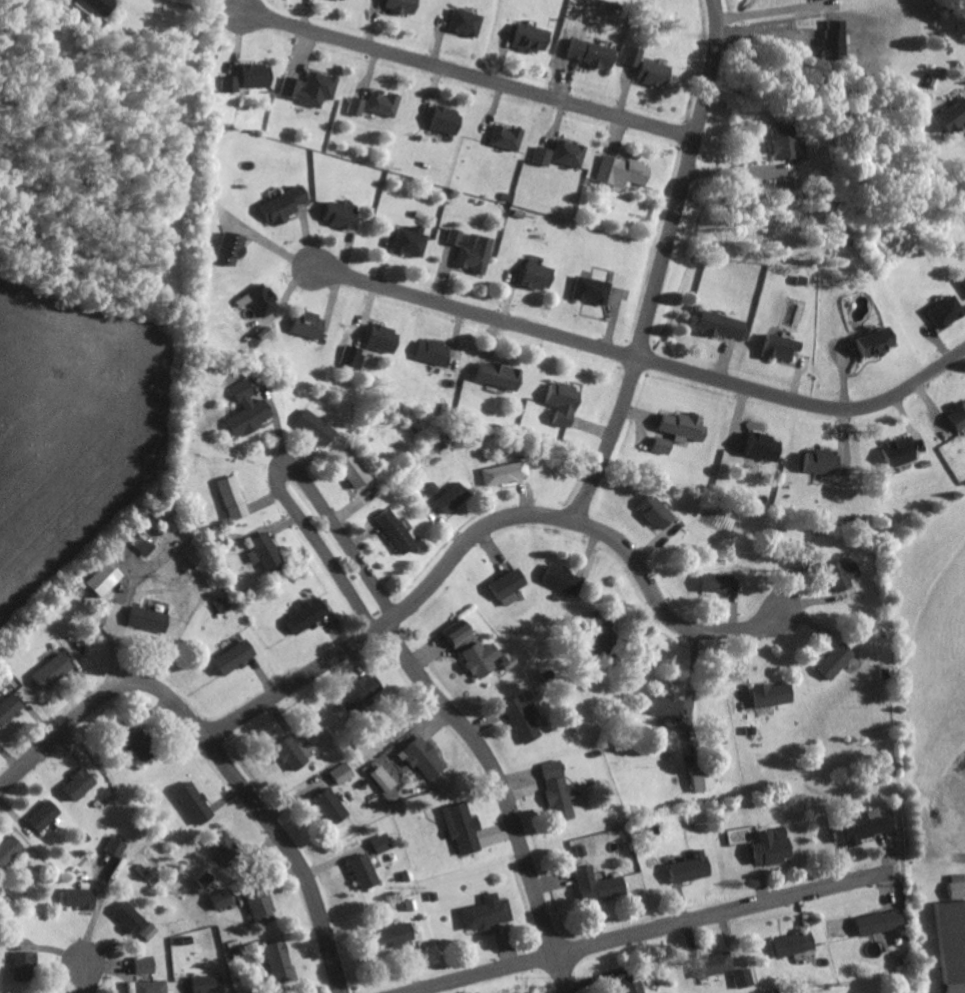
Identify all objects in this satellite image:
building: (344, 0)
building: (93, 4)
building: (398, 6)
road: (203, 11)
road: (773, 15)
building: (460, 23)
building: (527, 38)
building: (585, 53)
building: (643, 68)
building: (245, 78)
road: (474, 78)
building: (306, 89)
building: (380, 104)
building: (353, 106)
building: (949, 116)
building: (442, 120)
building: (502, 137)
building: (778, 141)
building: (565, 153)
building: (539, 156)
building: (619, 171)
building: (279, 204)
building: (333, 215)
building: (407, 241)
road: (275, 247)
building: (224, 248)
building: (468, 250)
road: (669, 266)
building: (531, 275)
building: (961, 283)
building: (586, 290)
building: (257, 299)
building: (940, 311)
building: (306, 325)
building: (714, 325)
building: (377, 339)
building: (869, 343)
building: (774, 347)
building: (430, 352)
road: (648, 361)
building: (493, 375)
building: (557, 402)
building: (243, 411)
building: (954, 416)
building: (311, 426)
building: (679, 426)
road: (281, 429)
building: (657, 445)
building: (756, 447)
building: (817, 462)
building: (348, 471)
building: (502, 473)
road: (290, 480)
building: (431, 488)
building: (228, 497)
building: (449, 498)
building: (650, 512)
building: (391, 530)
road: (485, 532)
building: (261, 552)
building: (797, 556)
building: (838, 574)
building: (556, 578)
building: (97, 580)
building: (711, 582)
building: (502, 587)
building: (219, 605)
building: (302, 616)
building: (145, 620)
building: (592, 626)
building: (465, 650)
building: (237, 657)
building: (501, 660)
building: (830, 661)
building: (54, 670)
building: (766, 695)
building: (659, 706)
building: (12, 708)
building: (518, 719)
building: (144, 745)
building: (294, 753)
building: (427, 758)
road: (220, 763)
building: (345, 772)
building: (385, 778)
building: (83, 783)
building: (561, 787)
road: (9, 792)
road: (506, 793)
building: (197, 802)
building: (335, 805)
building: (46, 815)
building: (465, 827)
building: (225, 841)
building: (383, 843)
building: (119, 846)
building: (766, 847)
building: (10, 848)
building: (694, 867)
building: (367, 871)
building: (600, 884)
building: (955, 886)
building: (83, 898)
building: (224, 898)
building: (264, 906)
building: (490, 912)
road: (725, 912)
building: (139, 920)
building: (875, 922)
building: (402, 933)
building: (792, 944)
building: (948, 946)
building: (283, 960)
building: (148, 964)
building: (716, 964)
building: (25, 965)
road: (482, 972)
building: (744, 978)
road: (88, 980)
building: (211, 984)
building: (636, 984)
building: (155, 986)

